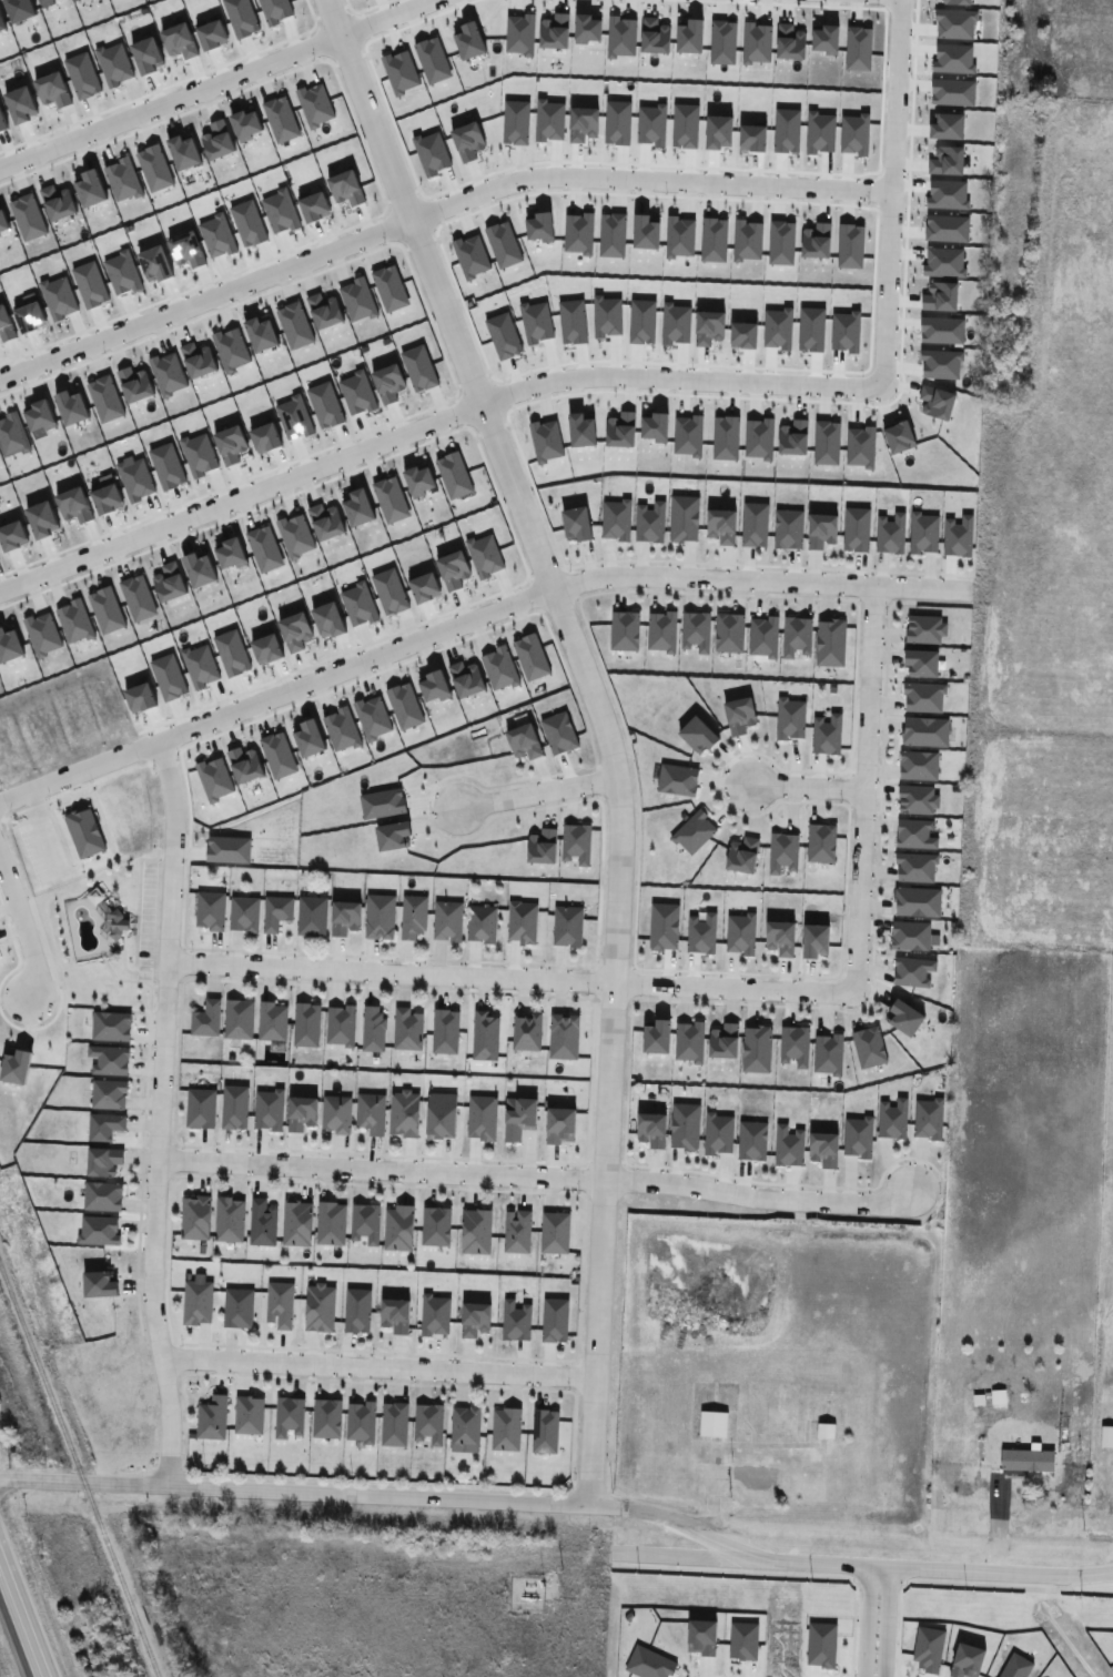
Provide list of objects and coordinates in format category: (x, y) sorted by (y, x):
road: (206, 80)
road: (889, 190)
road: (432, 205)
road: (428, 420)
road: (467, 615)
road: (604, 724)
road: (805, 782)
road: (862, 784)
road: (538, 787)
building: (694, 834)
building: (576, 848)
building: (544, 851)
building: (781, 855)
building: (742, 861)
building: (211, 911)
building: (277, 913)
building: (244, 915)
building: (313, 916)
building: (413, 917)
building: (448, 922)
road: (23, 923)
building: (520, 925)
building: (482, 926)
building: (568, 926)
building: (664, 930)
building: (740, 935)
building: (700, 937)
building: (782, 939)
building: (819, 943)
road: (508, 971)
building: (208, 1019)
building: (239, 1019)
building: (273, 1021)
building: (373, 1028)
building: (407, 1029)
building: (526, 1036)
building: (485, 1039)
building: (566, 1039)
building: (660, 1040)
building: (689, 1043)
building: (726, 1045)
building: (793, 1048)
building: (757, 1053)
building: (828, 1055)
building: (109, 1094)
road: (160, 1108)
building: (201, 1109)
building: (371, 1113)
building: (104, 1128)
road: (536, 1171)
building: (239, 1309)
road: (376, 1362)
building: (213, 1418)
building: (714, 1424)
building: (466, 1426)
building: (826, 1432)
building: (1028, 1461)
railway: (80, 1471)
road: (561, 1495)
road: (1109, 1558)
road: (873, 1619)
road: (18, 1625)

